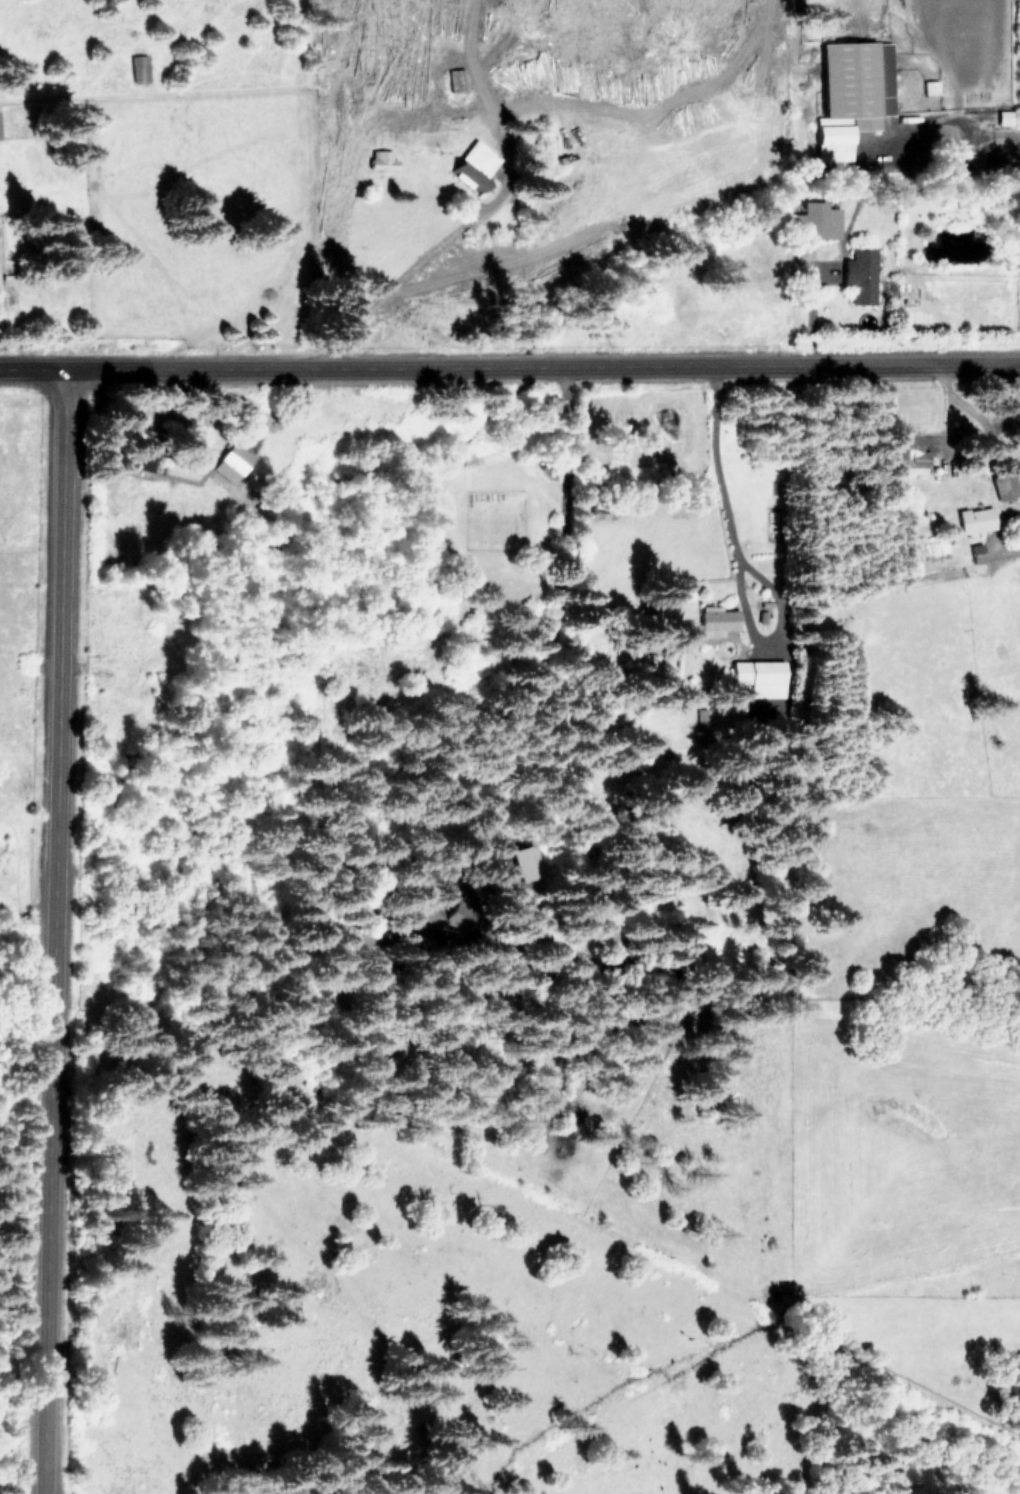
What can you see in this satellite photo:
crop: (913, 39)
building: (138, 68)
building: (930, 87)
building: (850, 94)
building: (1003, 117)
building: (474, 164)
building: (817, 219)
building: (859, 274)
road: (509, 366)
building: (963, 430)
building: (910, 455)
building: (231, 462)
building: (1003, 484)
building: (975, 519)
road: (567, 528)
building: (976, 552)
road: (736, 559)
building: (717, 617)
building: (757, 676)
building: (447, 922)
road: (55, 933)

